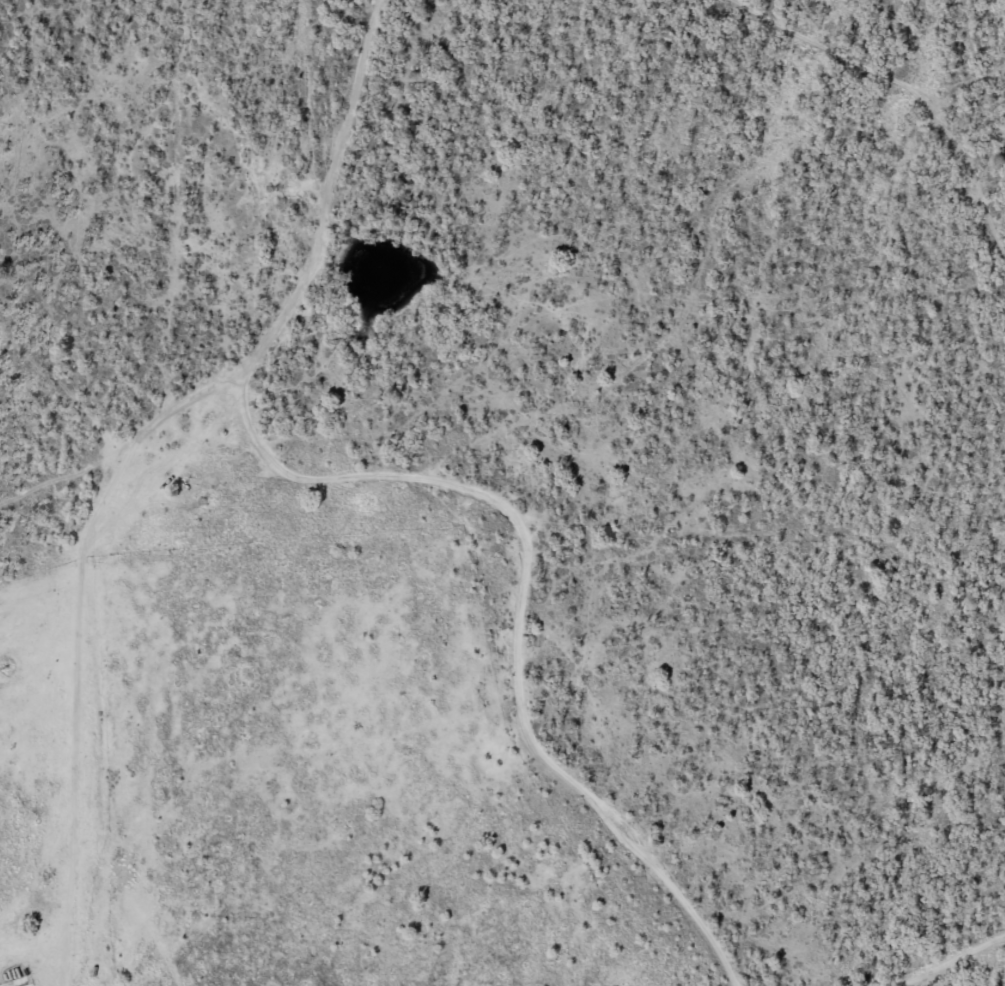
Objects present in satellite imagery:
road: (171, 456)
road: (567, 636)

